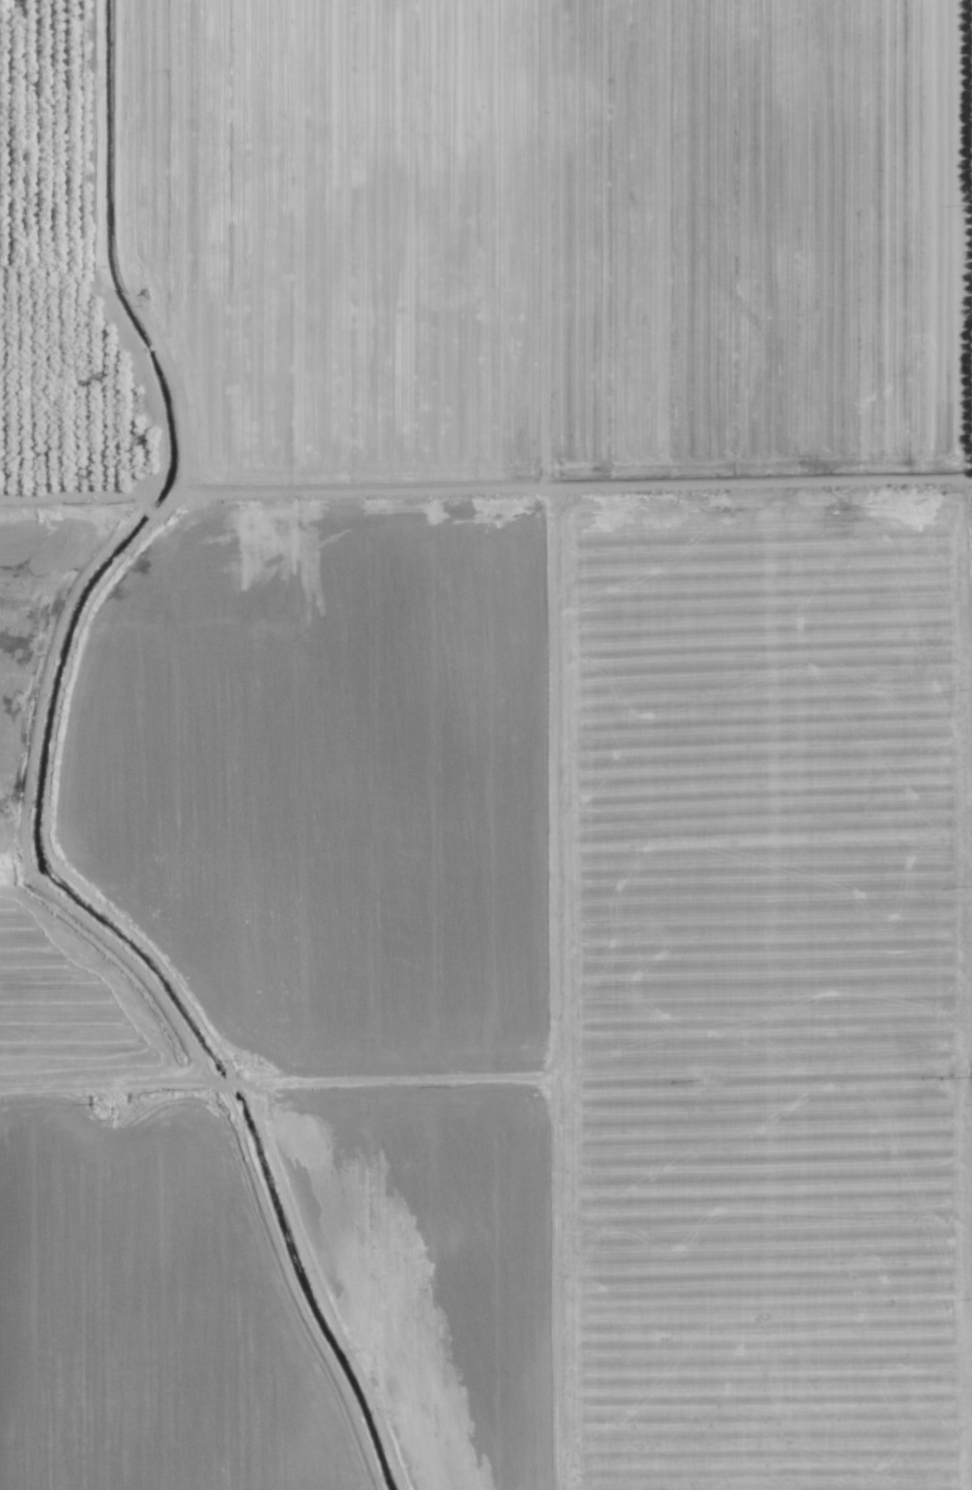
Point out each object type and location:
road: (91, 1078)

